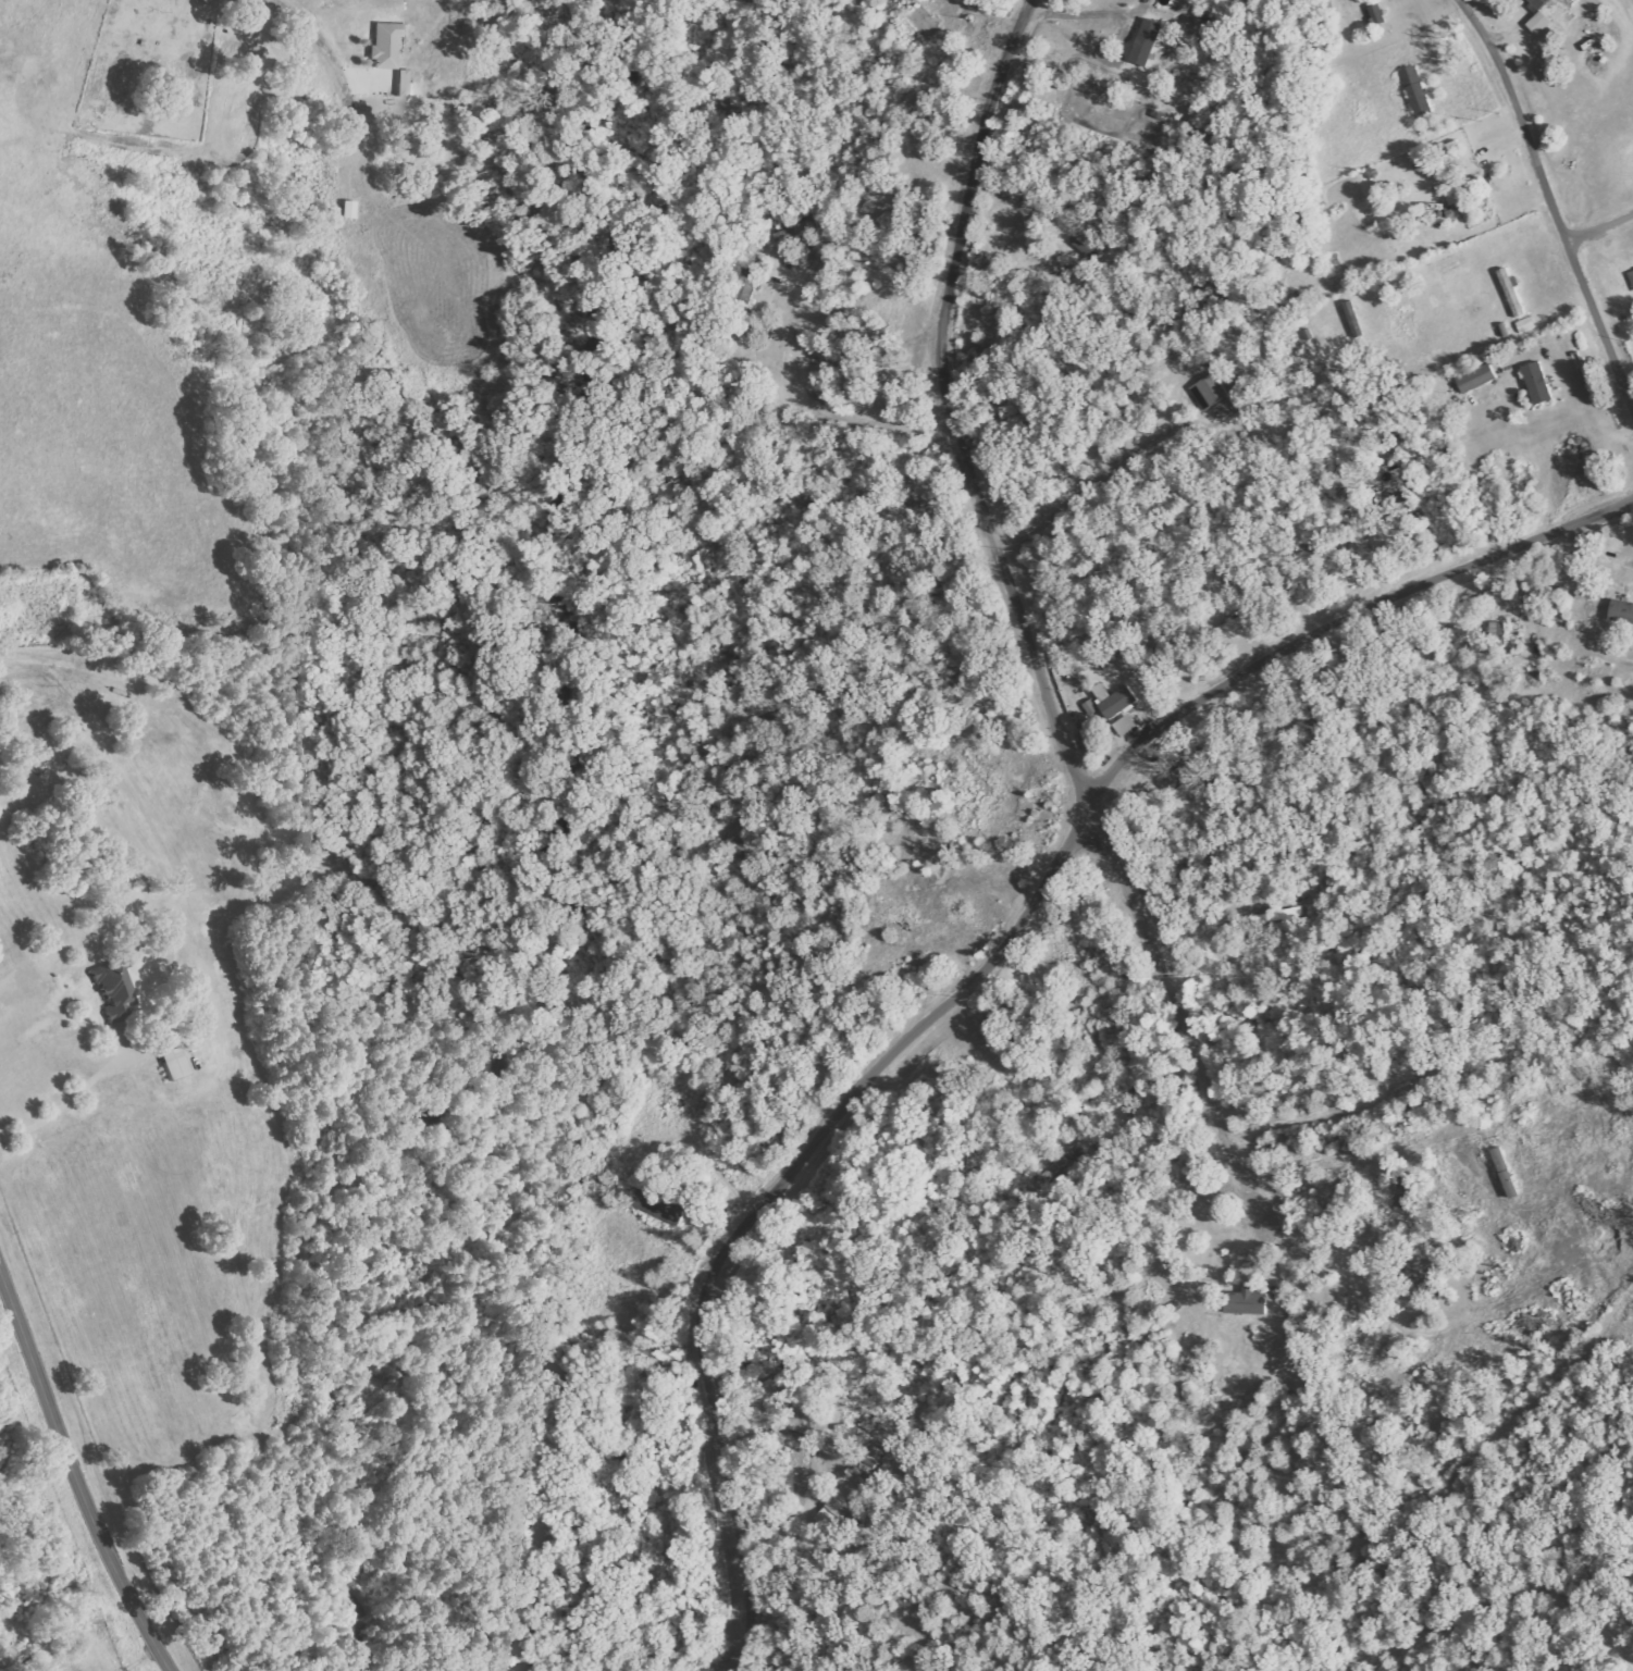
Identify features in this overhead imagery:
building: (1538, 4)
building: (1541, 23)
building: (1212, 37)
building: (388, 44)
building: (1146, 49)
building: (407, 83)
building: (1418, 90)
road: (1517, 119)
building: (1458, 193)
road: (1628, 216)
road: (1595, 233)
building: (1078, 235)
building: (1632, 274)
building: (746, 283)
building: (1512, 292)
building: (1356, 320)
road: (1598, 325)
building: (1479, 379)
building: (1539, 383)
building: (1214, 396)
road: (950, 405)
road: (1631, 408)
road: (1580, 520)
road: (1435, 577)
building: (1622, 611)
building: (1236, 623)
road: (1259, 663)
building: (1116, 701)
building: (1091, 708)
building: (1126, 726)
road: (1154, 733)
road: (1108, 775)
building: (1185, 776)
building: (117, 995)
road: (1174, 1006)
building: (175, 1063)
building: (1408, 1091)
building: (1409, 1192)
road: (772, 1193)
building: (1250, 1302)
building: (870, 1462)
road: (78, 1470)
building: (841, 1502)

